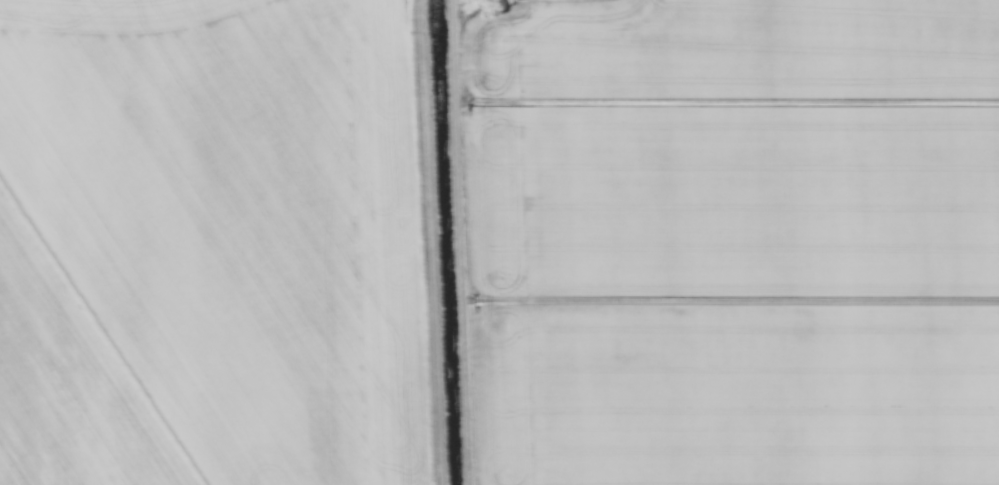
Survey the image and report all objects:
crop: (729, 241)
road: (455, 242)
crop: (210, 244)

